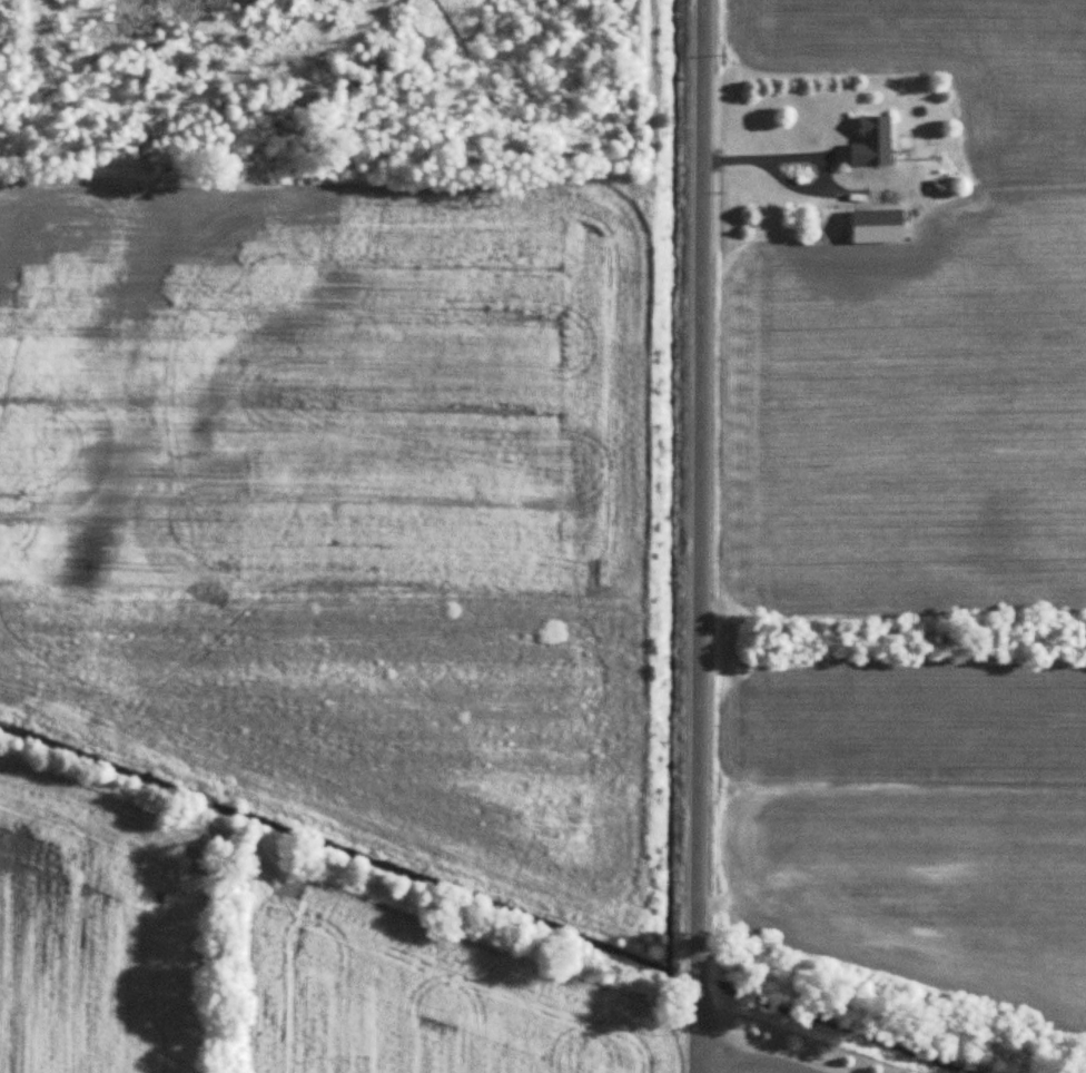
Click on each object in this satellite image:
building: (875, 141)
road: (793, 185)
building: (879, 225)
road: (699, 536)
road: (749, 1062)

